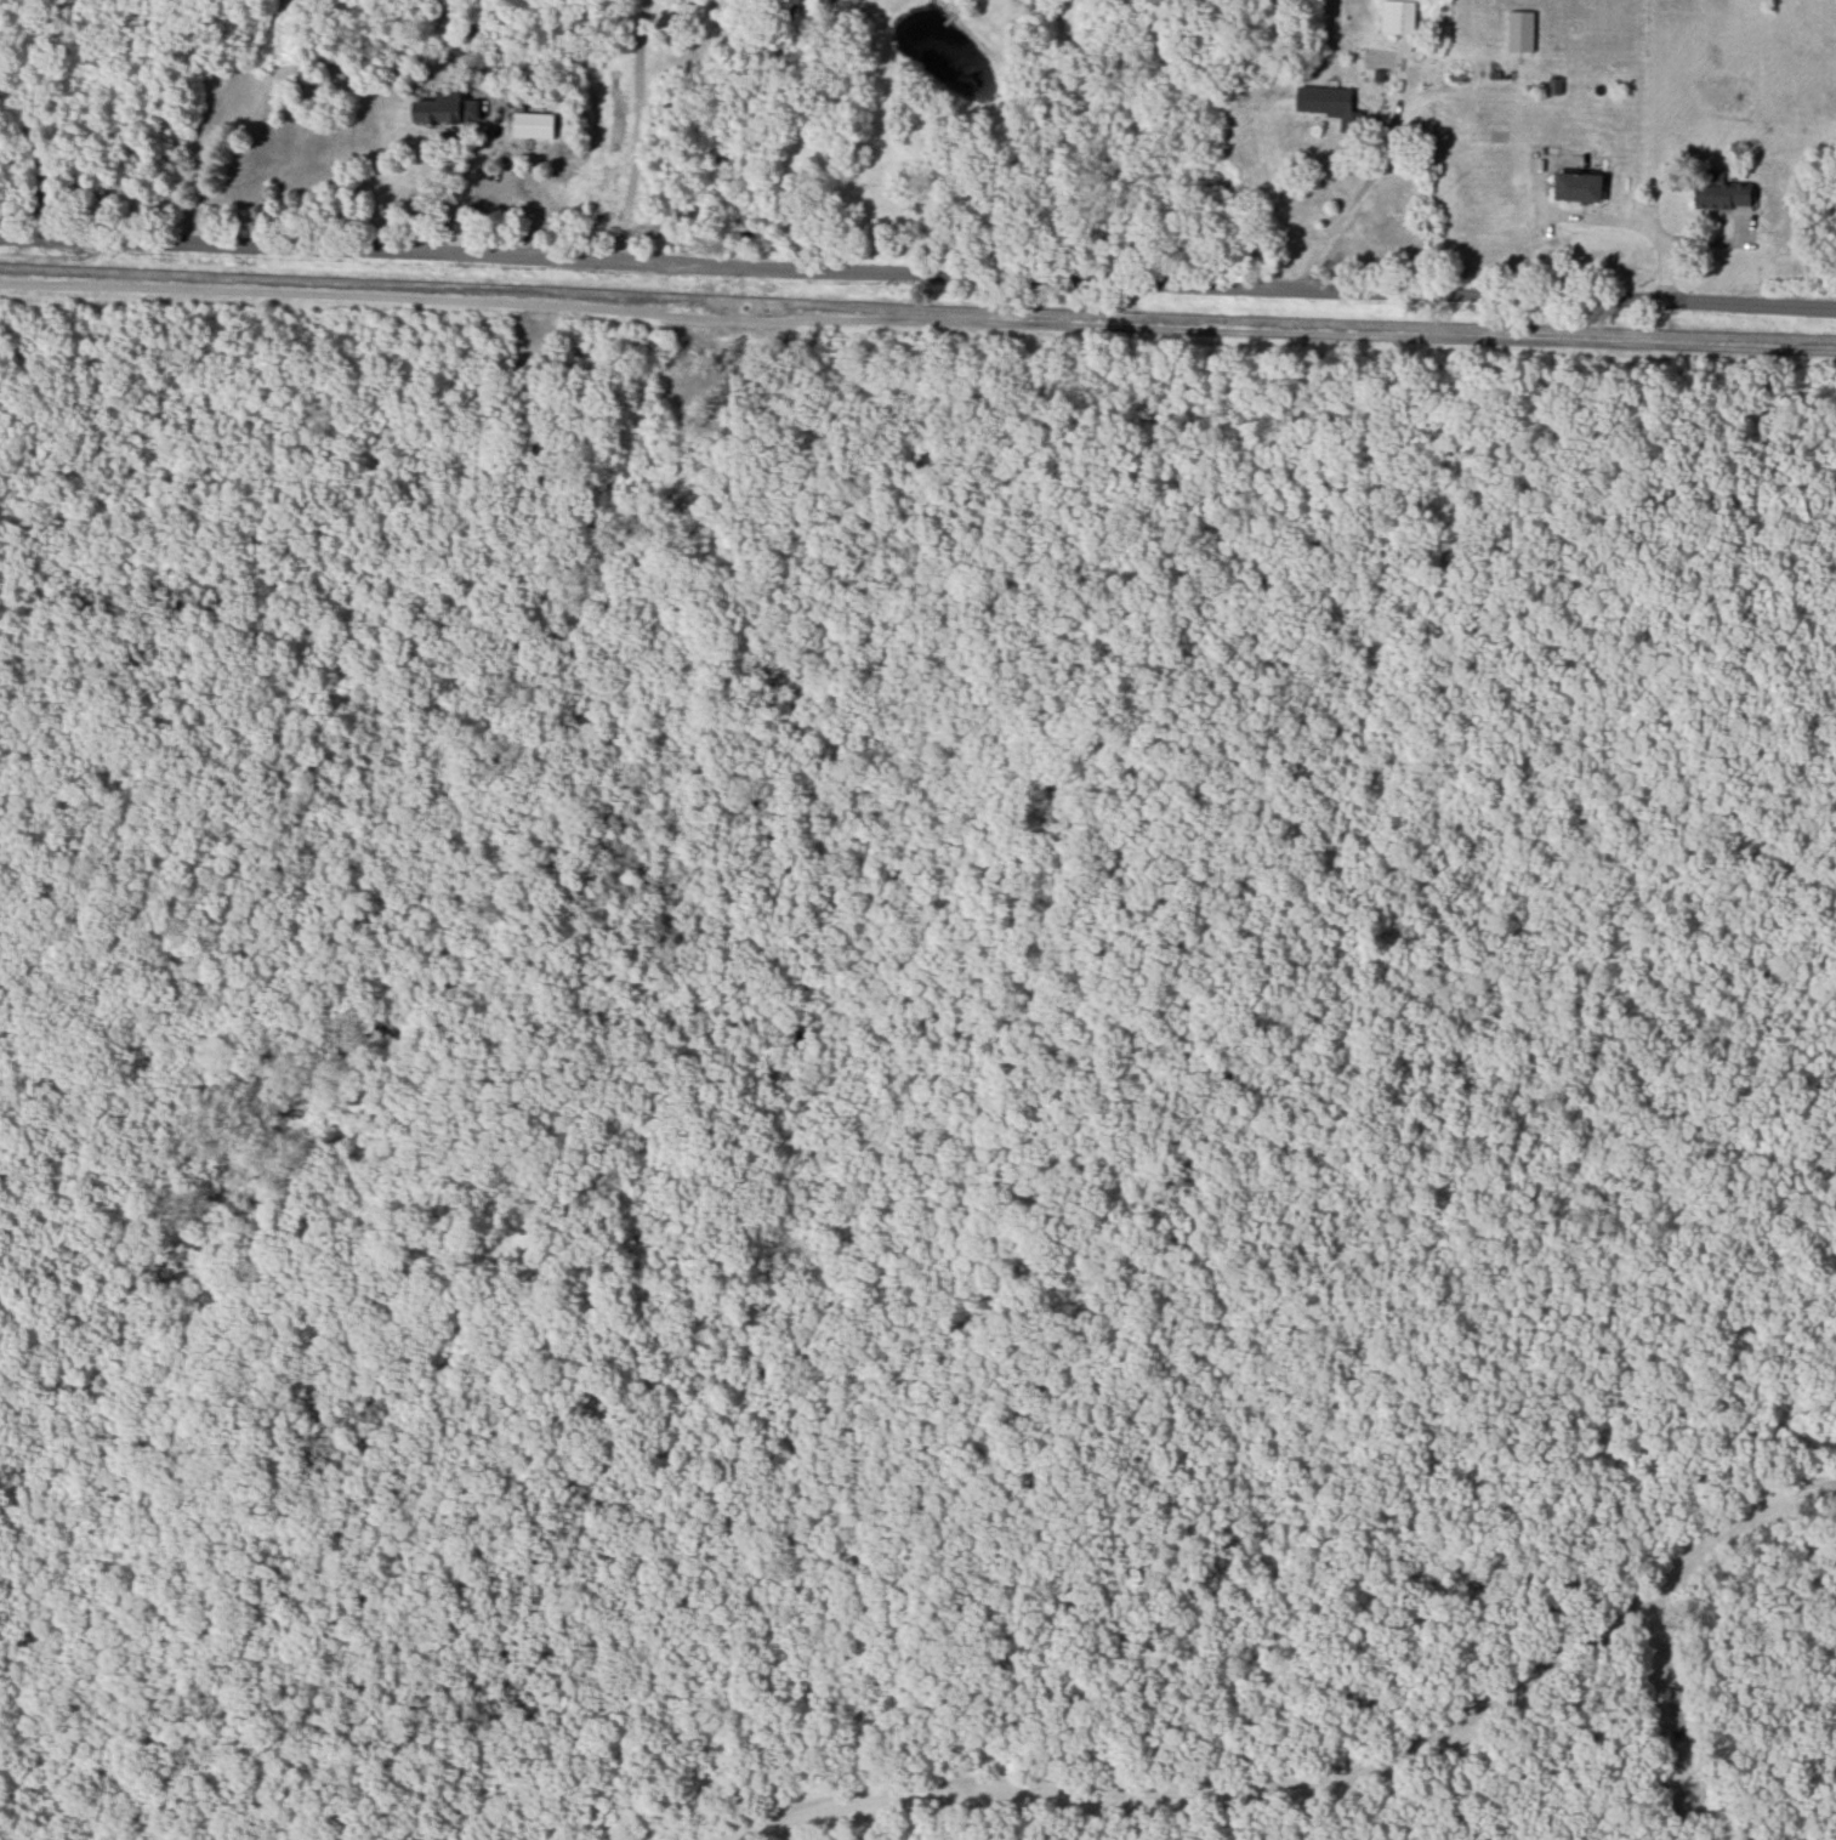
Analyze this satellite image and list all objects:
building: (1397, 16)
building: (1520, 30)
building: (1329, 104)
building: (447, 109)
road: (222, 113)
building: (534, 125)
road: (636, 130)
road: (1011, 136)
road: (35, 141)
road: (474, 175)
building: (1578, 187)
building: (1721, 193)
road: (1345, 204)
road: (917, 271)
road: (917, 323)

